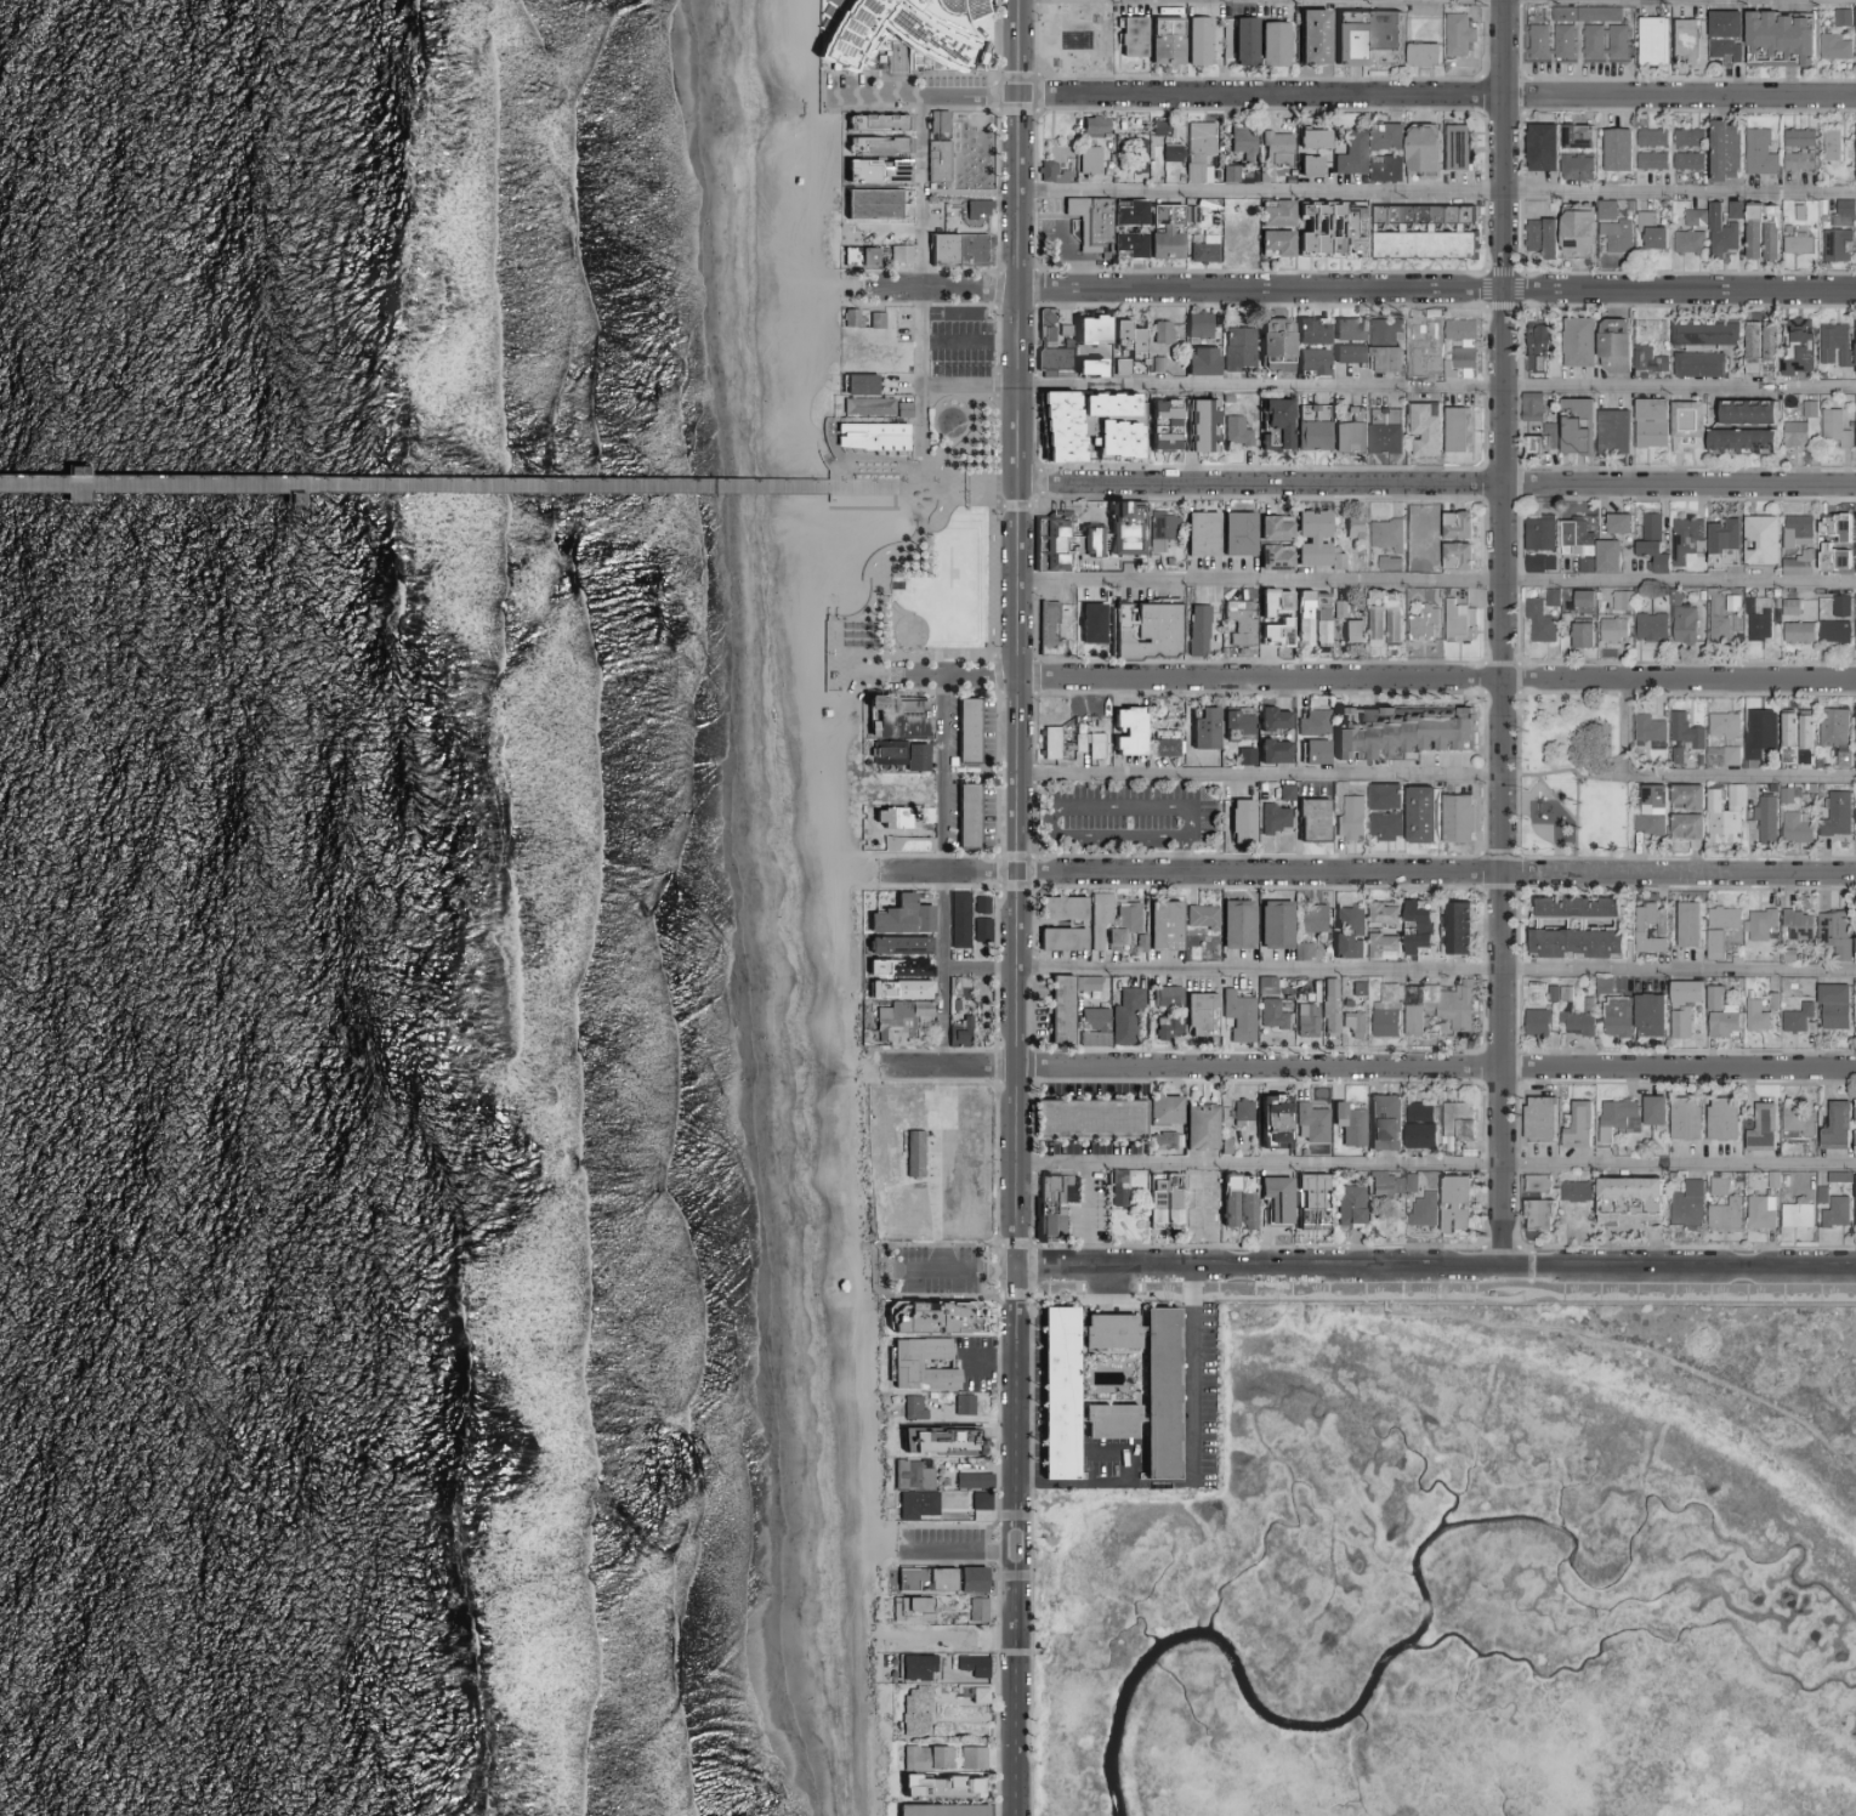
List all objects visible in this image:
building: (975, 8)
road: (977, 8)
building: (833, 12)
building: (1559, 13)
building: (1595, 13)
building: (1838, 17)
building: (1854, 24)
building: (902, 32)
building: (1454, 34)
building: (1721, 34)
road: (995, 35)
building: (1128, 35)
building: (1307, 36)
building: (1775, 38)
park: (1074, 40)
building: (1160, 40)
building: (1193, 40)
building: (1239, 40)
building: (1534, 41)
building: (1560, 41)
building: (1588, 41)
building: (1613, 41)
building: (1648, 41)
building: (1681, 41)
building: (1268, 44)
building: (1829, 46)
building: (1419, 55)
building: (1383, 56)
building: (895, 57)
building: (1854, 57)
road: (1340, 96)
building: (933, 120)
building: (1091, 124)
building: (1157, 126)
building: (872, 134)
building: (1383, 136)
building: (1572, 136)
building: (1647, 137)
building: (1684, 137)
building: (1309, 138)
building: (1238, 142)
building: (1828, 144)
building: (1453, 147)
building: (1537, 147)
building: (1418, 148)
building: (1612, 149)
building: (1795, 149)
building: (1194, 151)
building: (1721, 151)
building: (1167, 152)
building: (1755, 152)
building: (1854, 152)
building: (1271, 153)
building: (1349, 153)
building: (1085, 159)
building: (1647, 160)
building: (1684, 160)
building: (1305, 165)
building: (932, 166)
building: (1381, 168)
building: (1573, 168)
building: (1789, 177)
road: (923, 192)
road: (1436, 192)
building: (868, 203)
building: (974, 208)
building: (1731, 210)
building: (1124, 212)
building: (1271, 212)
building: (1840, 212)
building: (1692, 217)
building: (1099, 222)
building: (1608, 227)
road: (895, 231)
building: (1418, 231)
building: (1572, 231)
building: (1646, 231)
building: (1083, 232)
building: (1160, 232)
building: (1758, 232)
building: (1716, 233)
building: (1537, 237)
building: (1855, 239)
building: (1272, 242)
building: (1684, 242)
building: (1125, 243)
building: (1794, 243)
building: (1831, 244)
building: (952, 249)
building: (1201, 249)
building: (897, 252)
road: (1071, 255)
building: (865, 256)
road: (1389, 286)
road: (882, 288)
building: (846, 317)
building: (872, 319)
building: (1194, 324)
building: (1083, 329)
building: (1344, 329)
building: (1457, 329)
building: (1383, 330)
building: (1157, 331)
building: (1306, 331)
building: (1701, 333)
building: (1123, 335)
parking lot: (955, 340)
road: (970, 342)
building: (1425, 342)
building: (1573, 342)
building: (1270, 345)
building: (1831, 345)
building: (1046, 346)
building: (1610, 346)
building: (1533, 347)
building: (1852, 347)
building: (1235, 348)
building: (1797, 350)
building: (1344, 353)
building: (1383, 359)
building: (1644, 359)
building: (1307, 361)
building: (1455, 361)
building: (1197, 362)
building: (1695, 364)
building: (1123, 365)
building: (1082, 368)
road: (907, 384)
building: (855, 385)
road: (1389, 385)
road: (921, 388)
building: (1101, 404)
building: (864, 405)
building: (1527, 407)
building: (1805, 408)
building: (1743, 412)
building: (1646, 422)
building: (1196, 425)
building: (1270, 425)
building: (1682, 425)
building: (1054, 427)
building: (1157, 427)
building: (1307, 427)
building: (1572, 427)
building: (1831, 427)
building: (1344, 429)
building: (1420, 429)
building: (1452, 430)
building: (1232, 431)
building: (1381, 431)
building: (1608, 432)
building: (1854, 432)
building: (1790, 433)
building: (873, 437)
building: (1111, 439)
building: (1540, 439)
building: (1737, 441)
flagpole: (1330, 460)
building: (79, 470)
road: (1436, 483)
road: (449, 487)
road: (964, 489)
road: (893, 495)
building: (1614, 523)
park: (909, 526)
building: (1350, 526)
building: (1453, 526)
building: (1417, 527)
building: (1159, 528)
building: (1270, 528)
building: (1794, 530)
building: (1196, 533)
building: (1233, 533)
building: (1536, 533)
building: (1383, 534)
building: (1854, 535)
building: (1572, 538)
building: (1681, 538)
building: (1307, 540)
building: (1756, 540)
building: (1648, 543)
building: (1720, 544)
building: (1270, 557)
building: (1419, 558)
building: (1599, 558)
building: (1829, 558)
building: (1385, 563)
building: (1536, 563)
building: (1794, 563)
road: (1435, 580)
building: (1548, 597)
building: (1579, 598)
building: (1618, 601)
building: (1837, 606)
building: (1786, 607)
building: (1116, 615)
building: (1307, 617)
building: (1380, 617)
building: (1718, 617)
building: (1453, 619)
building: (1237, 620)
building: (1536, 622)
building: (1088, 623)
building: (1419, 624)
building: (1680, 625)
building: (1646, 628)
building: (1044, 629)
building: (1610, 629)
building: (1193, 630)
building: (1148, 631)
building: (1347, 631)
building: (1831, 631)
building: (1794, 632)
building: (1578, 634)
building: (1854, 634)
road: (1016, 636)
road: (1503, 636)
building: (1270, 637)
road: (831, 669)
road: (1372, 677)
building: (889, 713)
building: (1270, 719)
building: (1233, 720)
building: (1310, 723)
building: (1720, 725)
road: (1624, 727)
building: (1829, 727)
building: (1784, 728)
building: (961, 730)
building: (1199, 730)
building: (1801, 730)
building: (1123, 731)
building: (1645, 731)
building: (1681, 731)
building: (1395, 732)
building: (1852, 733)
building: (1754, 734)
building: (1046, 742)
building: (1085, 744)
building: (1157, 747)
building: (1270, 751)
building: (1311, 751)
building: (884, 755)
building: (1242, 756)
building: (1718, 756)
building: (912, 757)
building: (1839, 759)
road: (1565, 771)
road: (946, 772)
road: (1259, 774)
road: (1739, 776)
park: (1571, 779)
building: (1282, 791)
building: (1684, 796)
building: (1380, 798)
road: (1556, 799)
road: (1052, 806)
building: (1647, 811)
building: (1720, 813)
building: (1833, 815)
building: (1854, 815)
building: (961, 816)
parking lot: (1130, 816)
building: (1417, 816)
building: (885, 818)
building: (1270, 818)
building: (1346, 818)
building: (1453, 818)
building: (1761, 818)
building: (1309, 819)
building: (1236, 821)
building: (1381, 825)
road: (1576, 825)
building: (1682, 827)
building: (1793, 827)
road: (1185, 853)
road: (915, 869)
road: (1401, 872)
building: (977, 904)
building: (1572, 906)
building: (1057, 907)
building: (1379, 912)
building: (895, 915)
building: (1197, 915)
building: (1307, 916)
building: (1720, 916)
building: (954, 918)
building: (1345, 918)
building: (1119, 923)
building: (1158, 923)
building: (1232, 923)
building: (1270, 923)
building: (1684, 923)
building: (1756, 923)
building: (1794, 924)
building: (1413, 926)
building: (1454, 926)
building: (1645, 927)
building: (977, 929)
building: (1831, 932)
building: (1056, 937)
building: (1571, 941)
building: (891, 943)
building: (1343, 944)
building: (1379, 944)
building: (1710, 944)
building: (1852, 947)
building: (903, 966)
road: (944, 966)
road: (1400, 967)
building: (1599, 986)
building: (892, 987)
building: (1162, 994)
building: (1326, 1004)
building: (1446, 1004)
building: (1679, 1005)
building: (1829, 1005)
building: (1056, 1009)
building: (1197, 1012)
building: (1716, 1012)
building: (1268, 1014)
building: (1645, 1014)
building: (1855, 1014)
building: (1235, 1015)
building: (1612, 1015)
building: (896, 1016)
building: (1123, 1016)
building: (1752, 1016)
building: (1302, 1017)
building: (1793, 1017)
building: (1409, 1020)
building: (1349, 1021)
building: (1532, 1021)
building: (1090, 1026)
building: (1163, 1026)
road: (1370, 1068)
building: (1158, 1108)
building: (1648, 1110)
building: (1238, 1111)
building: (1852, 1111)
building: (1415, 1112)
building: (1083, 1117)
building: (1534, 1117)
building: (1613, 1117)
building: (1680, 1117)
building: (1718, 1117)
building: (1793, 1118)
building: (1266, 1119)
building: (1453, 1119)
building: (1306, 1122)
building: (1380, 1122)
building: (1344, 1123)
building: (1196, 1125)
building: (1573, 1125)
building: (1832, 1125)
building: (1758, 1128)
building: (1415, 1134)
building: (1852, 1135)
building: (1159, 1140)
building: (909, 1152)
road: (1435, 1163)
road: (940, 1169)
building: (1389, 1182)
building: (1532, 1182)
building: (1624, 1186)
building: (1714, 1186)
building: (1114, 1187)
building: (1571, 1191)
building: (1158, 1197)
building: (1271, 1197)
building: (1852, 1198)
building: (1050, 1201)
building: (1231, 1201)
building: (1452, 1202)
building: (1345, 1204)
building: (1684, 1204)
building: (1306, 1205)
building: (1420, 1209)
building: (1625, 1209)
building: (1533, 1211)
building: (1756, 1211)
building: (1832, 1211)
building: (1721, 1214)
building: (1792, 1214)
road: (1085, 1227)
parking lot: (936, 1271)
road: (1435, 1272)
road: (957, 1273)
road: (1435, 1303)
building: (933, 1317)
building: (1102, 1329)
road: (1638, 1347)
road: (986, 1363)
building: (908, 1364)
parking lot: (974, 1367)
road: (1191, 1378)
building: (1051, 1391)
building: (1152, 1391)
building: (965, 1406)
building: (914, 1409)
building: (1102, 1419)
building: (941, 1440)
road: (1851, 1459)
building: (914, 1475)
building: (976, 1482)
road: (1105, 1482)
building: (983, 1502)
building: (919, 1505)
road: (1014, 1544)
parking lot: (942, 1545)
road: (955, 1547)
building: (927, 1579)
building: (974, 1579)
building: (913, 1610)
building: (980, 1610)
building: (916, 1638)
building: (959, 1642)
building: (969, 1664)
building: (909, 1667)
building: (969, 1692)
building: (910, 1709)
river: (1328, 1723)
building: (923, 1757)
building: (967, 1757)
building: (932, 1786)
building: (936, 1809)

